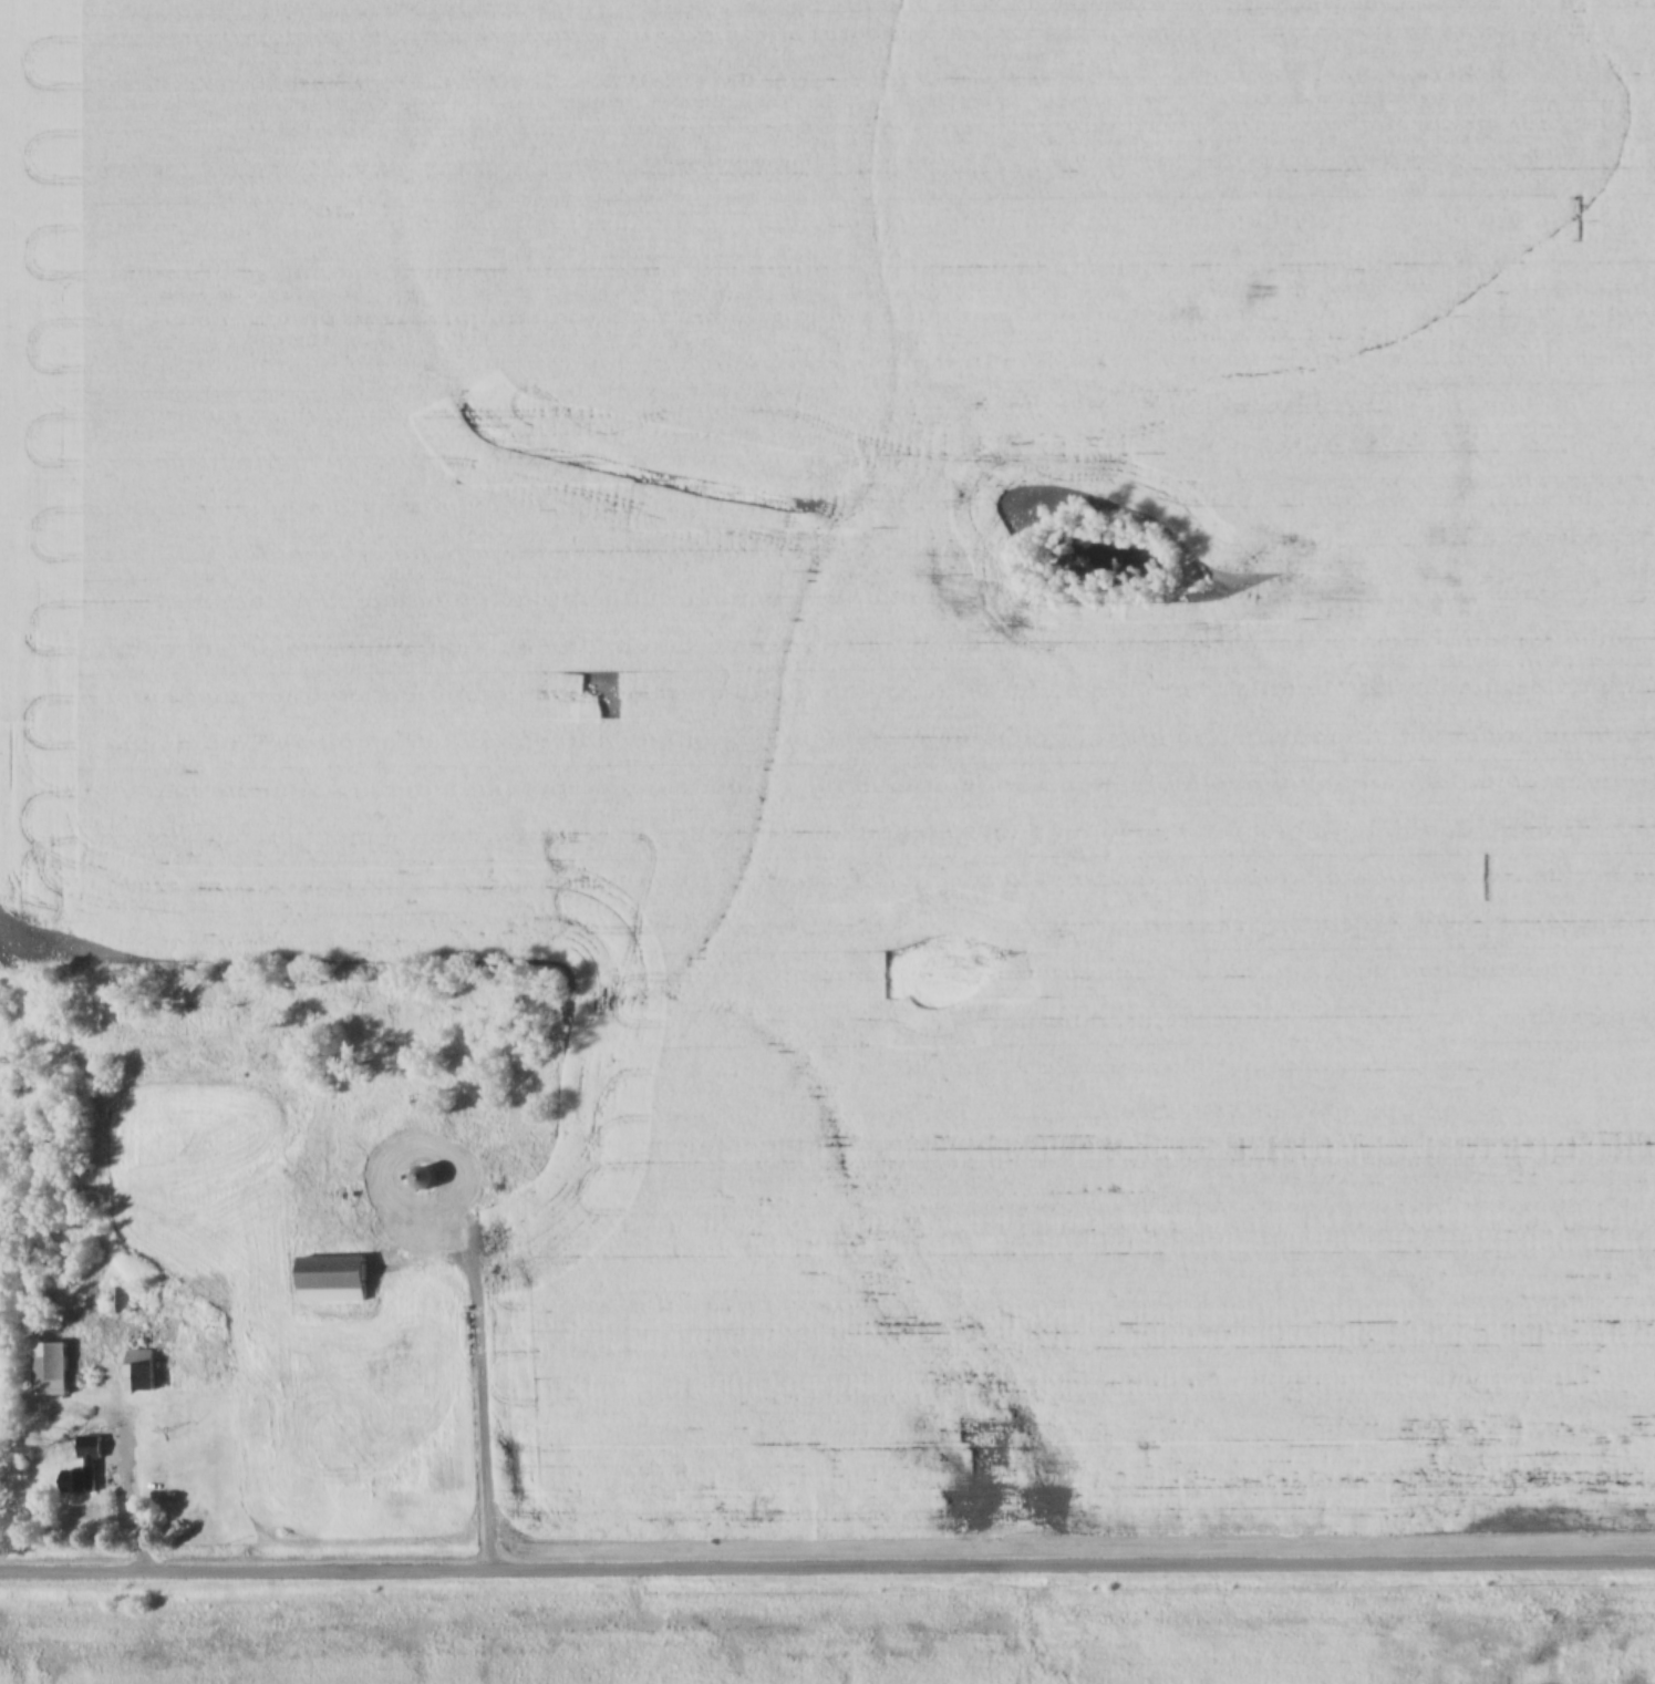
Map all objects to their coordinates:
building: (337, 1278)
building: (54, 1368)
building: (145, 1371)
road: (465, 1407)
building: (21, 1454)
building: (84, 1467)
road: (112, 1502)
road: (827, 1566)

